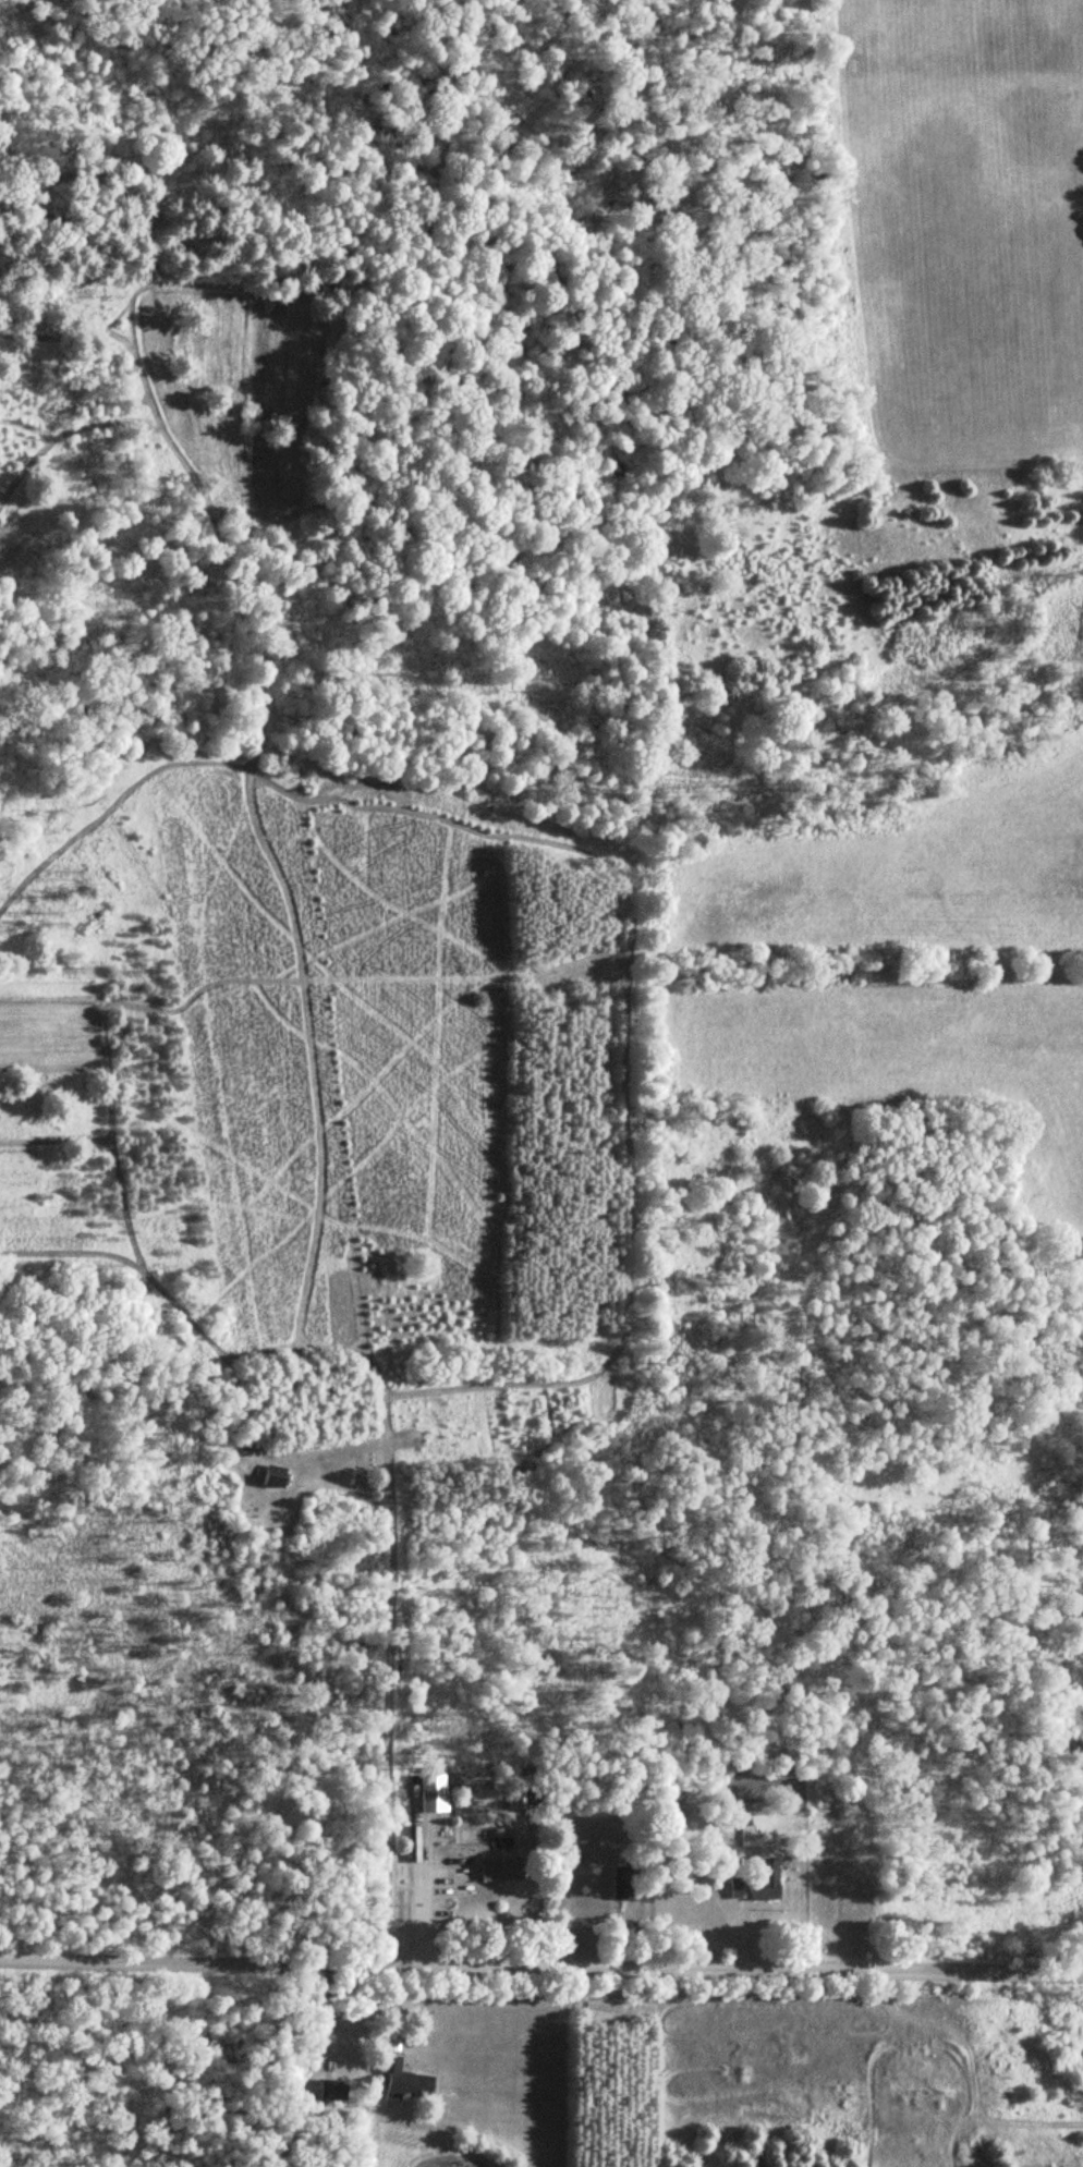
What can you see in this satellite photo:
building: (1075, 1712)
building: (674, 1798)
road: (541, 1970)
building: (399, 2081)

